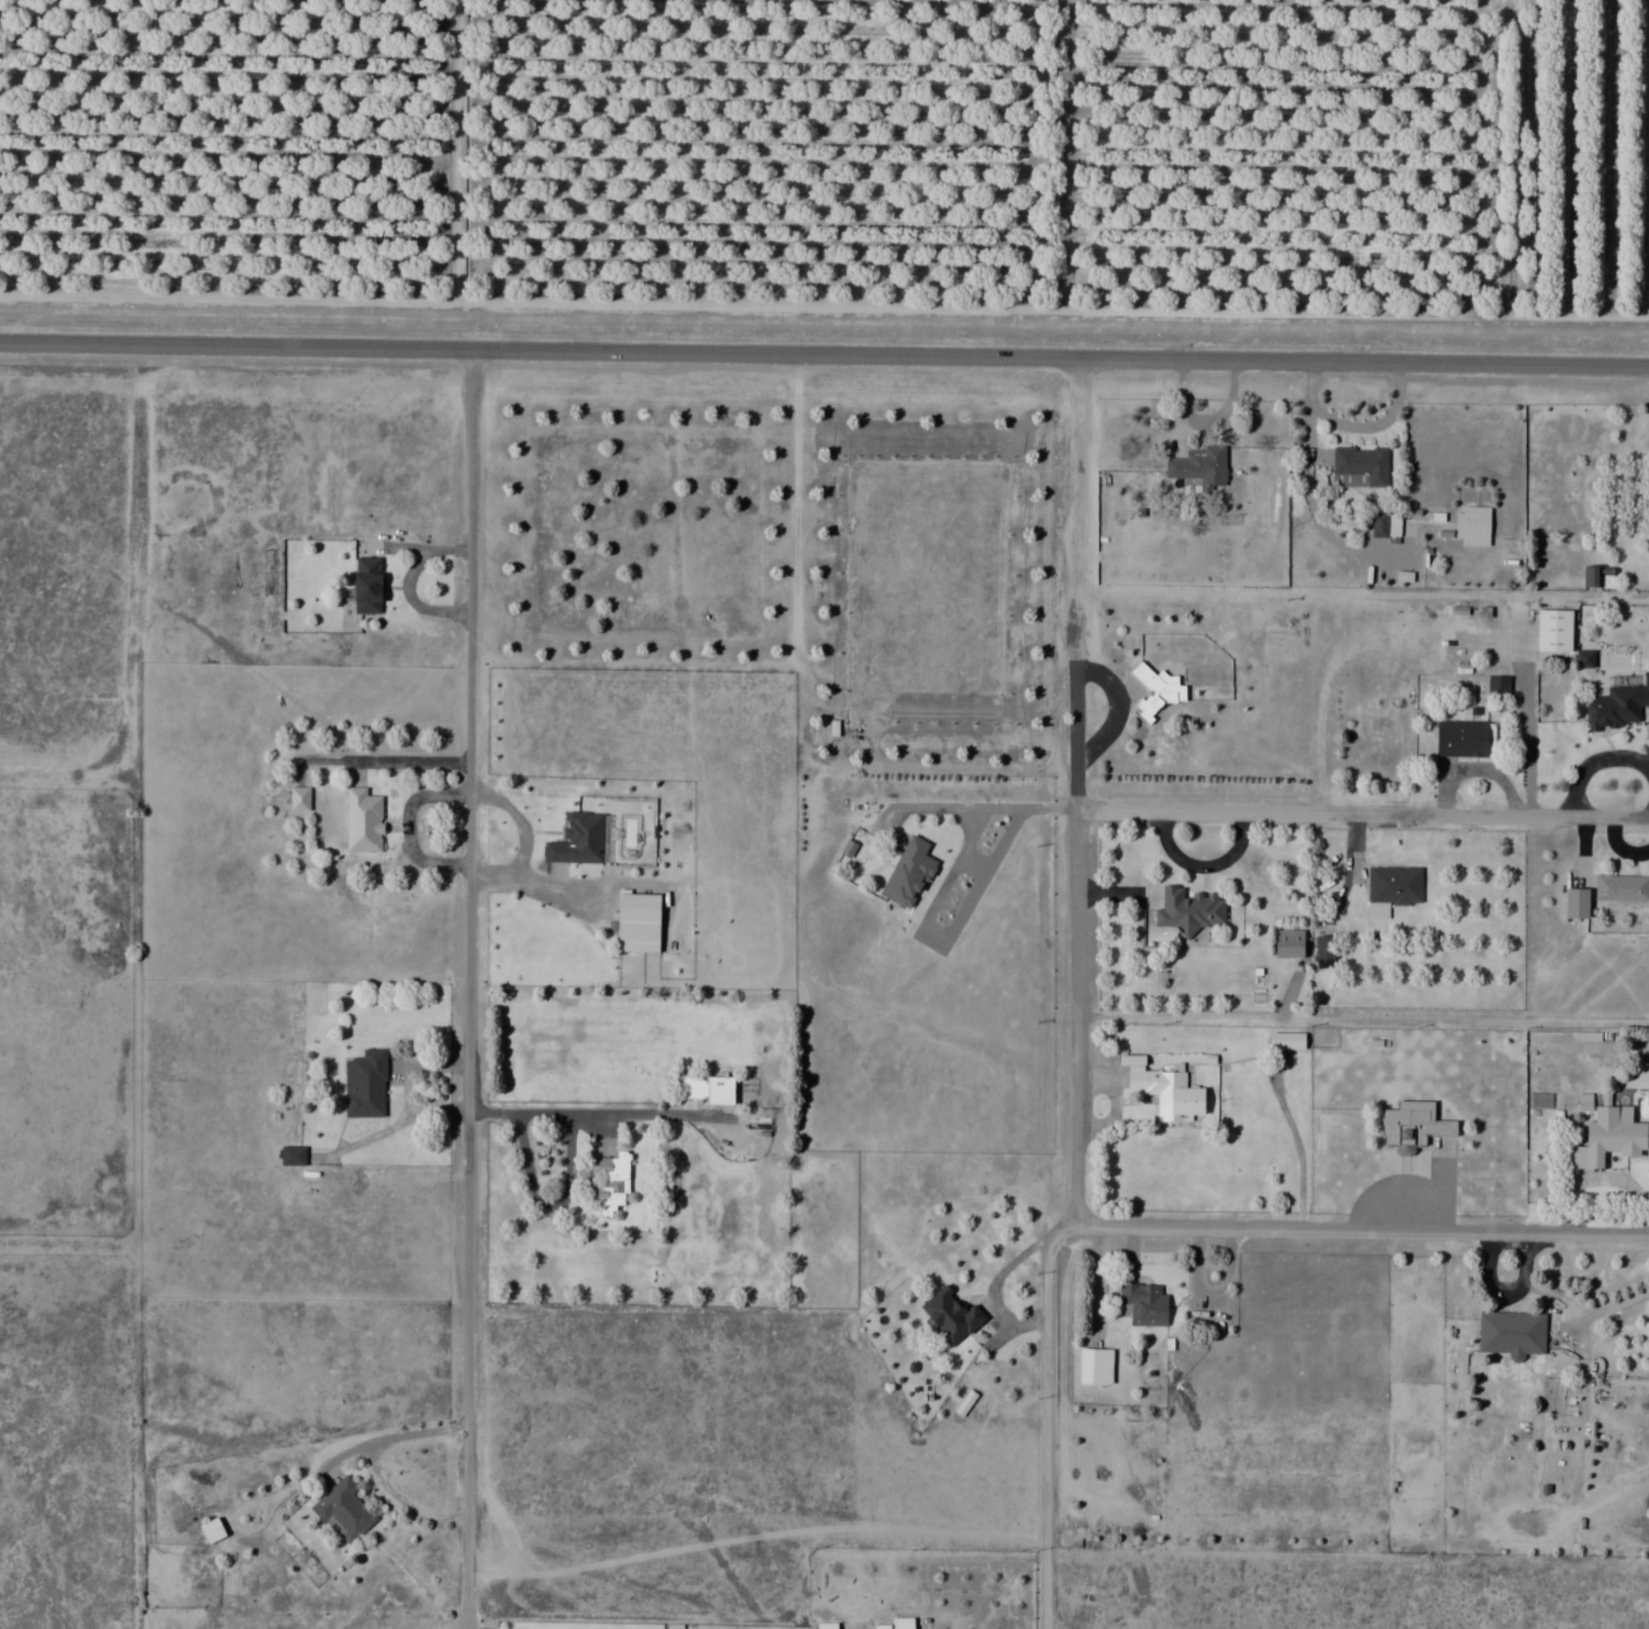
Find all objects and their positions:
road: (824, 355)
building: (1198, 466)
building: (1360, 466)
building: (1473, 525)
building: (1593, 578)
building: (367, 585)
building: (1498, 686)
building: (1155, 690)
building: (1615, 709)
building: (1464, 739)
road: (1078, 791)
building: (299, 799)
road: (1363, 813)
building: (362, 820)
building: (578, 839)
building: (908, 874)
building: (1394, 885)
building: (1622, 887)
building: (1576, 902)
building: (1188, 910)
building: (639, 911)
building: (1288, 942)
building: (1324, 950)
road: (154, 987)
road: (471, 989)
road: (1362, 1019)
building: (1284, 1044)
building: (365, 1084)
building: (719, 1088)
building: (1169, 1094)
building: (1416, 1129)
building: (1608, 1138)
building: (292, 1154)
building: (609, 1182)
road: (1360, 1230)
road: (73, 1238)
building: (1146, 1305)
building: (950, 1316)
building: (1512, 1332)
building: (1095, 1365)
road: (1047, 1423)
building: (343, 1510)
building: (211, 1529)
road: (643, 1616)
building: (897, 1624)
building: (826, 1625)

